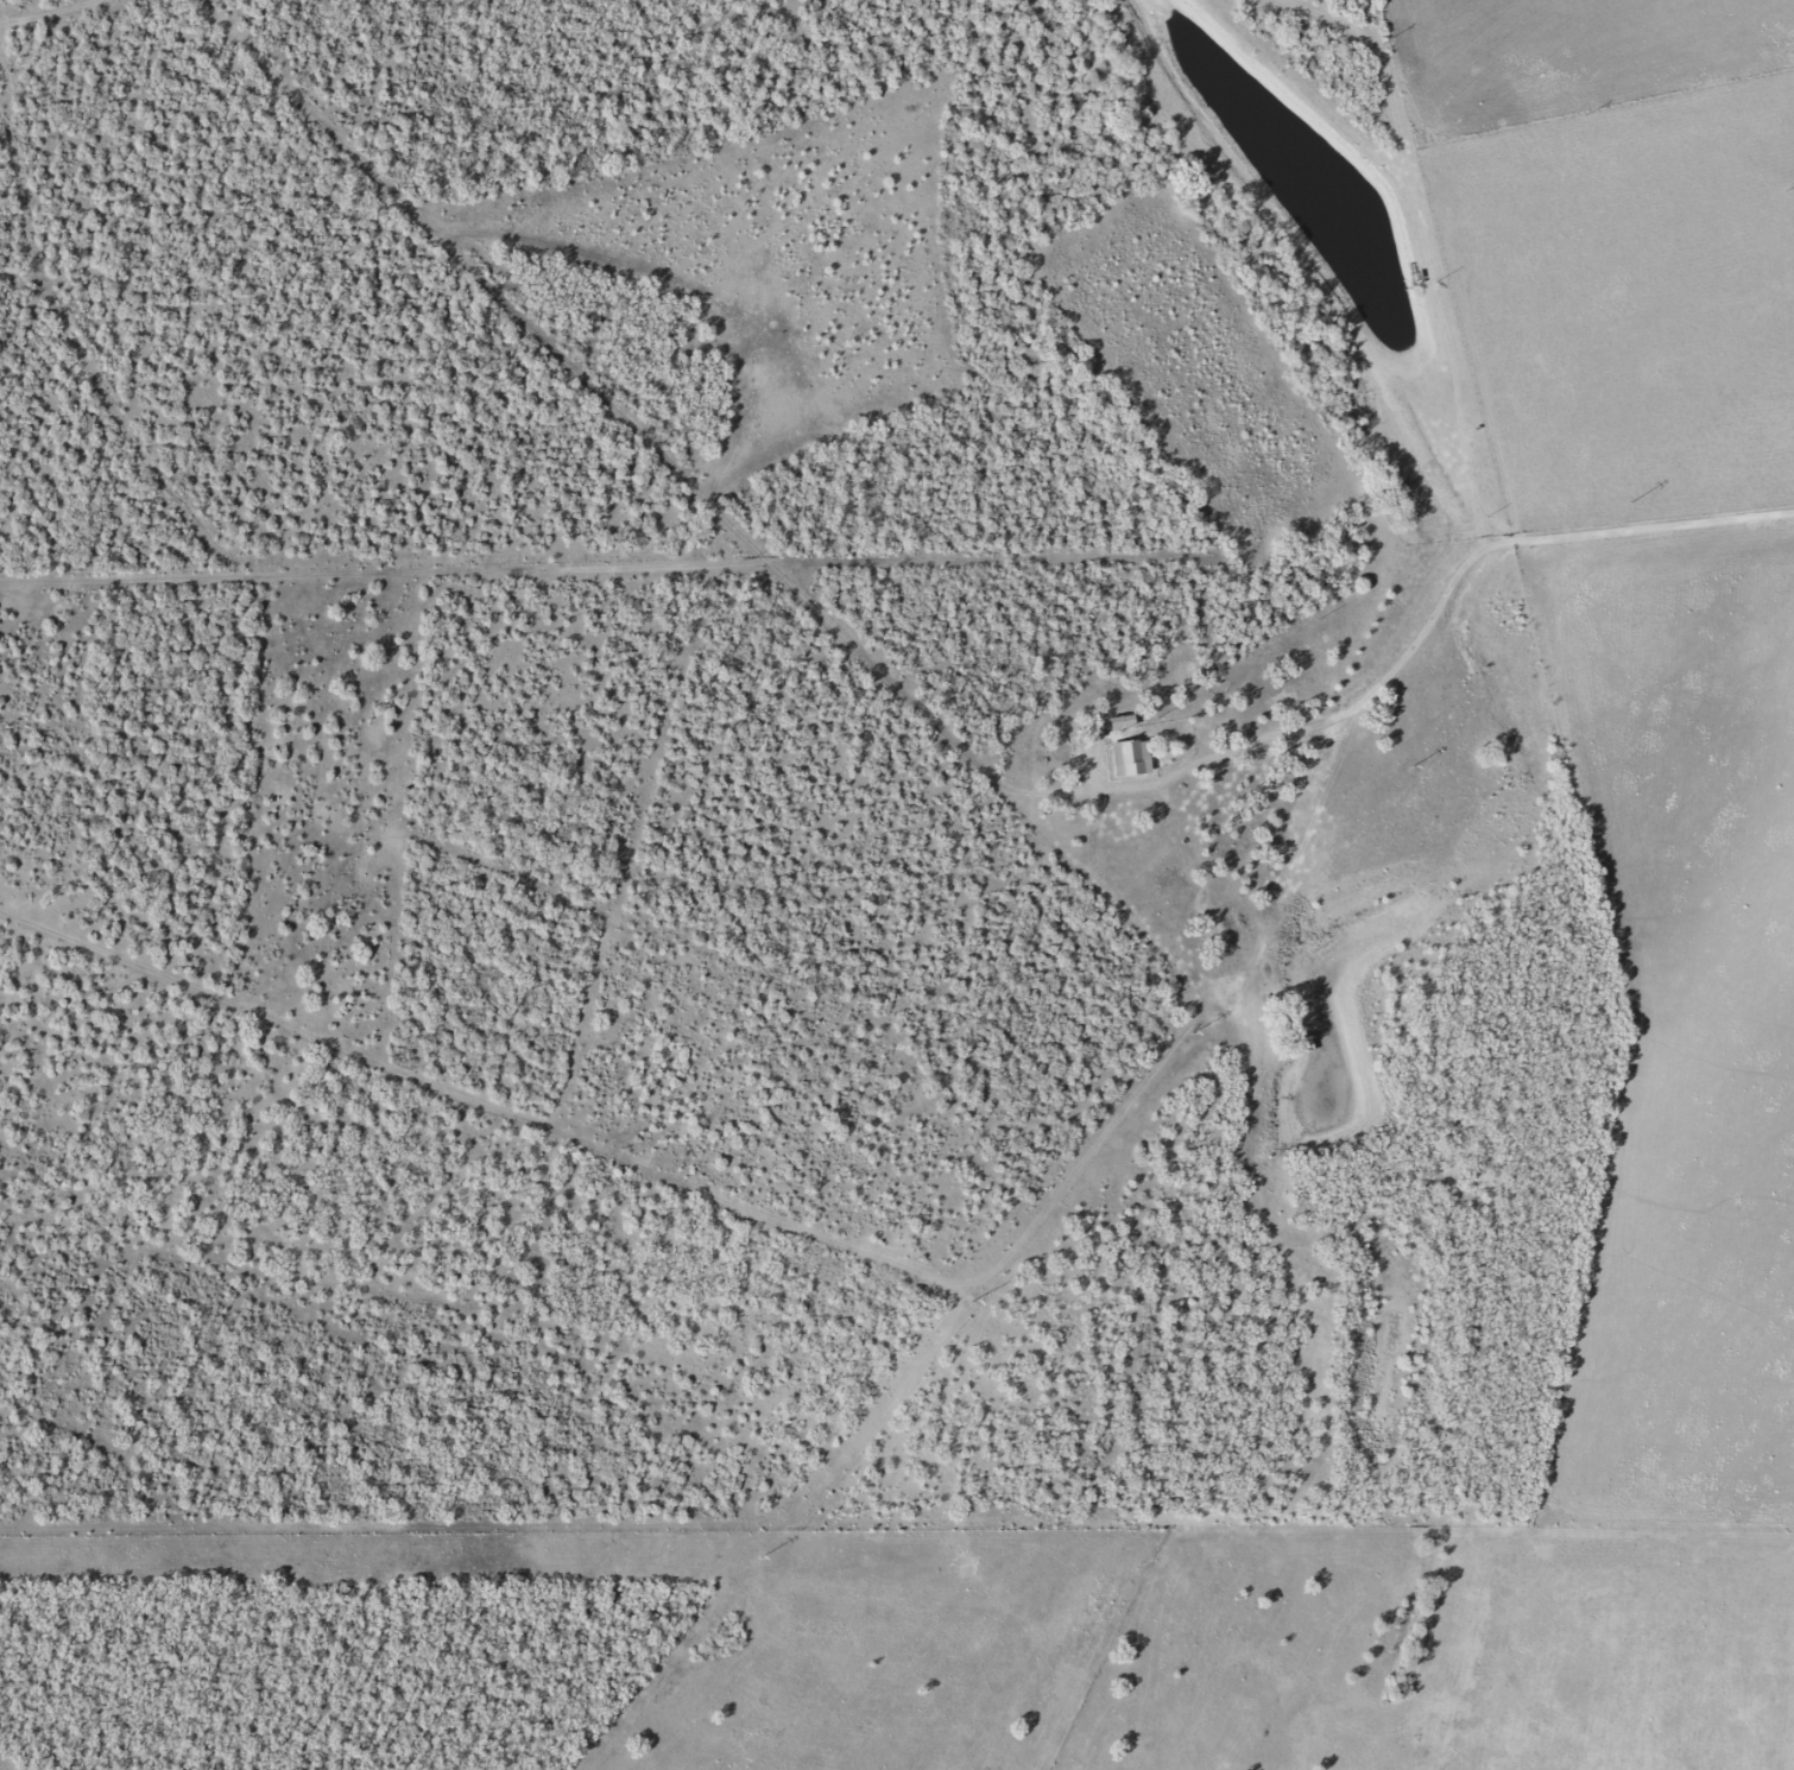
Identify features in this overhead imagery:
power tower: (1625, 499)
road: (722, 546)
road: (1564, 569)
building: (1133, 758)
power tower: (1410, 766)
power tower: (1198, 1032)
power tower: (975, 1301)
power tower: (762, 1556)

